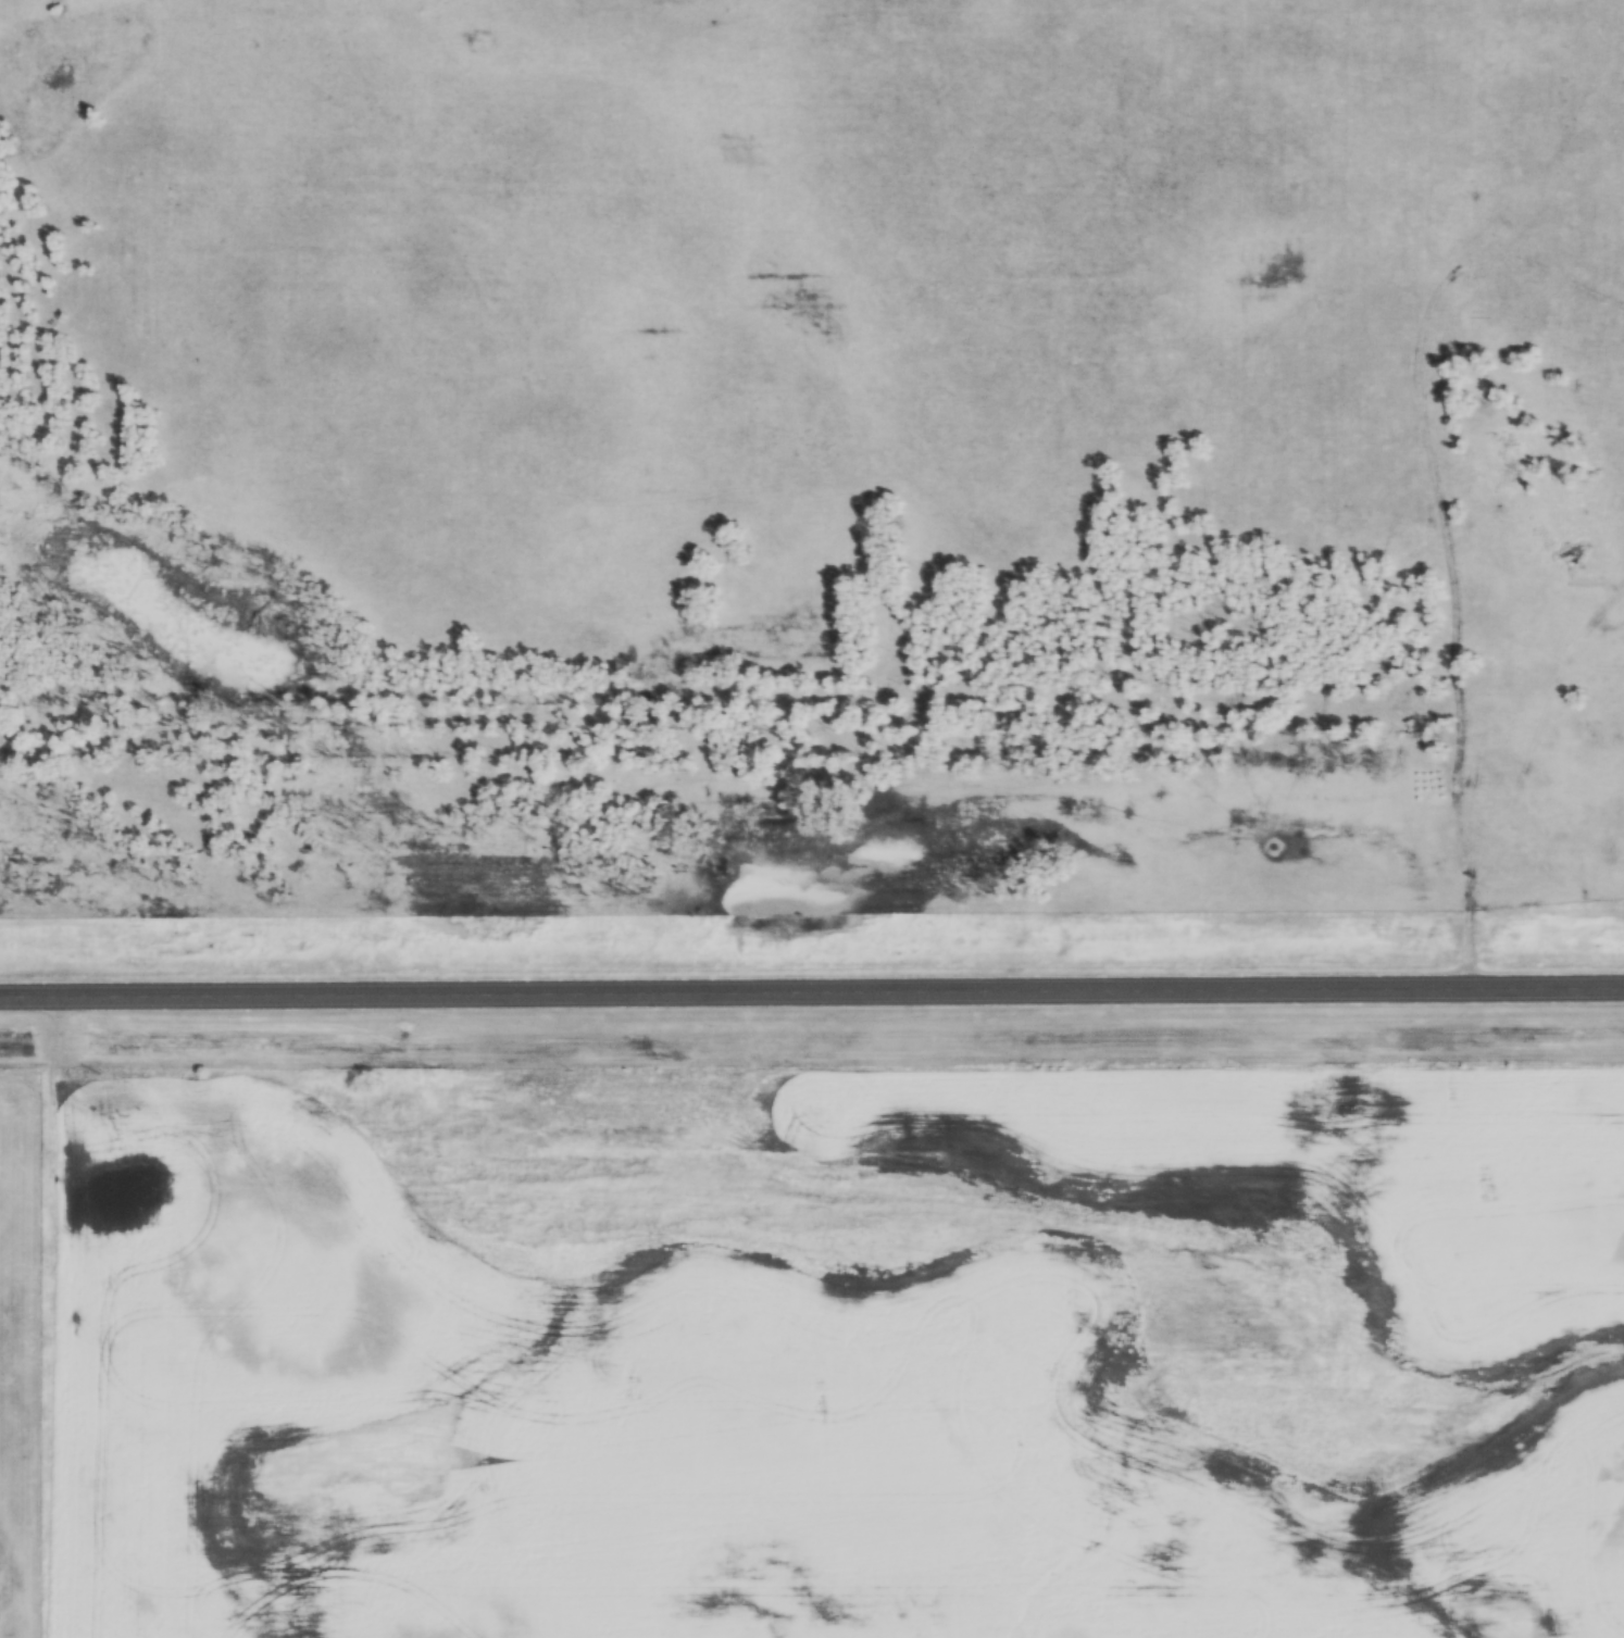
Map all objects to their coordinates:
road: (812, 970)
building: (874, 987)

